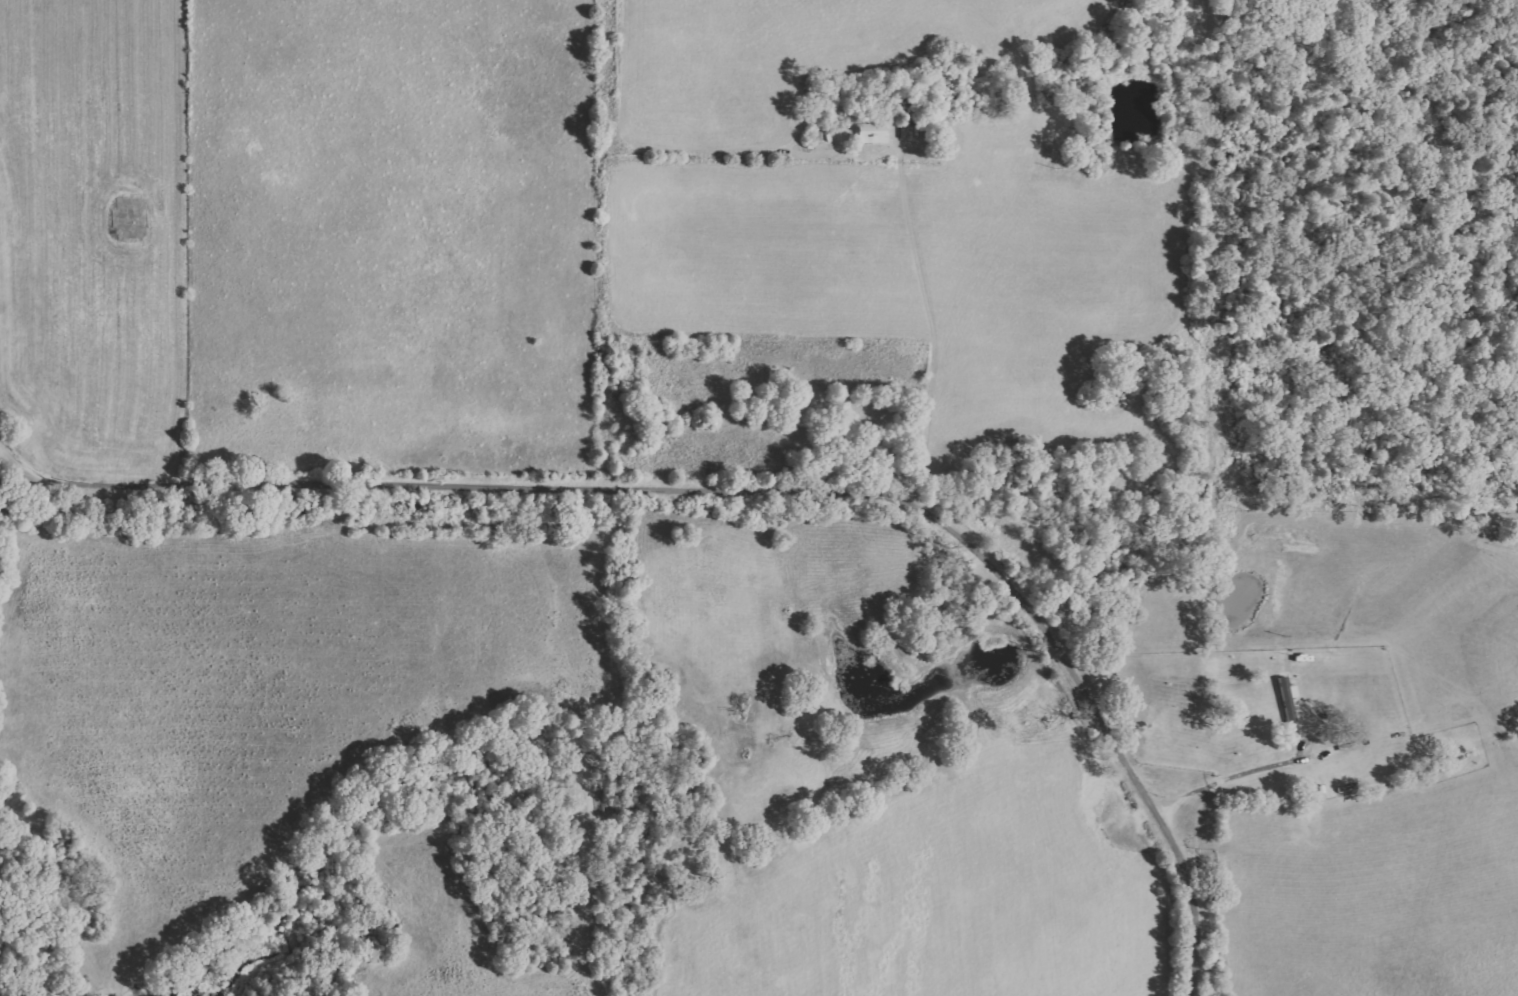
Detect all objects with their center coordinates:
building: (874, 133)
road: (617, 244)
road: (743, 486)

